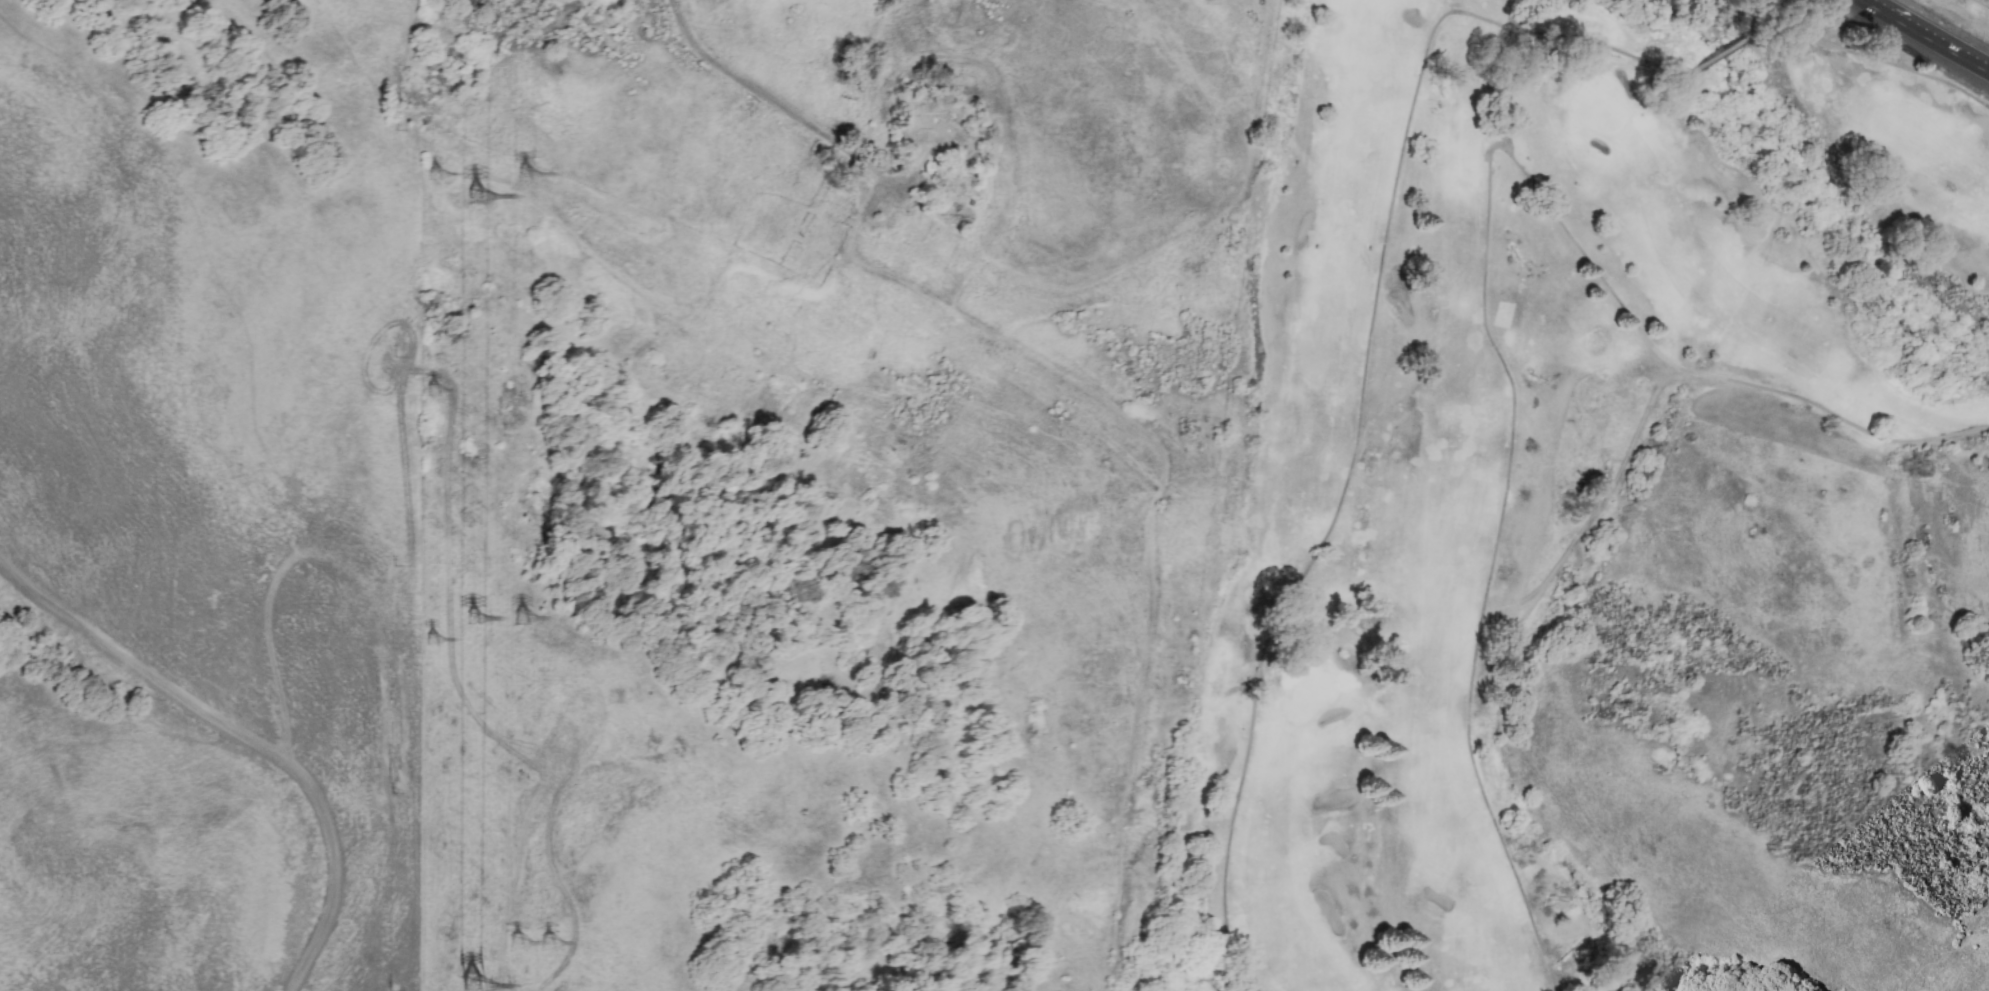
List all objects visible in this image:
road: (1923, 37)
road: (1879, 60)
road: (1007, 90)
building: (940, 132)
power tower: (528, 176)
power tower: (440, 178)
road: (1395, 191)
power tower: (482, 200)
road: (1214, 227)
road: (1484, 272)
power tower: (439, 392)
road: (1097, 393)
park: (1496, 427)
crop: (209, 495)
power tower: (530, 621)
power tower: (479, 622)
power tower: (435, 642)
road: (244, 737)
road: (549, 842)
power tower: (516, 943)
power tower: (548, 943)
power tower: (471, 986)

